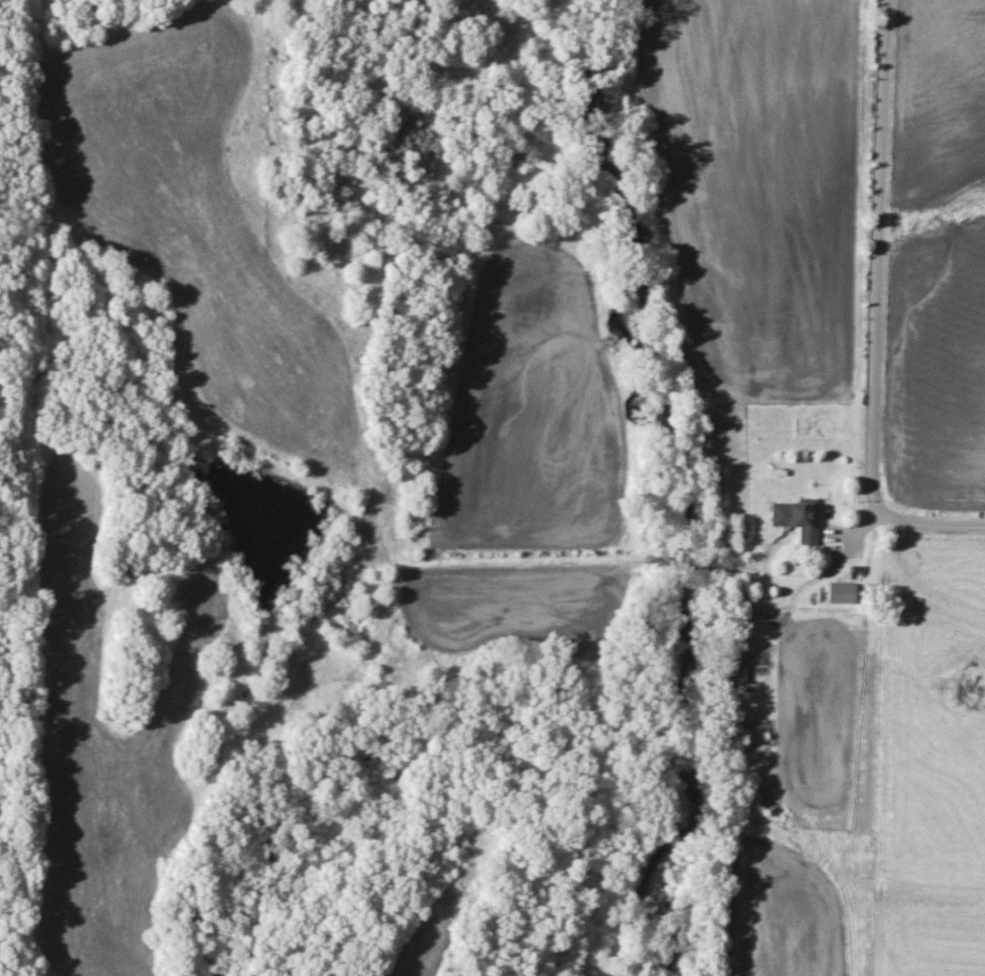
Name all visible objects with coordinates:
road: (875, 312)
building: (794, 520)
road: (813, 582)
building: (838, 593)
building: (733, 666)

